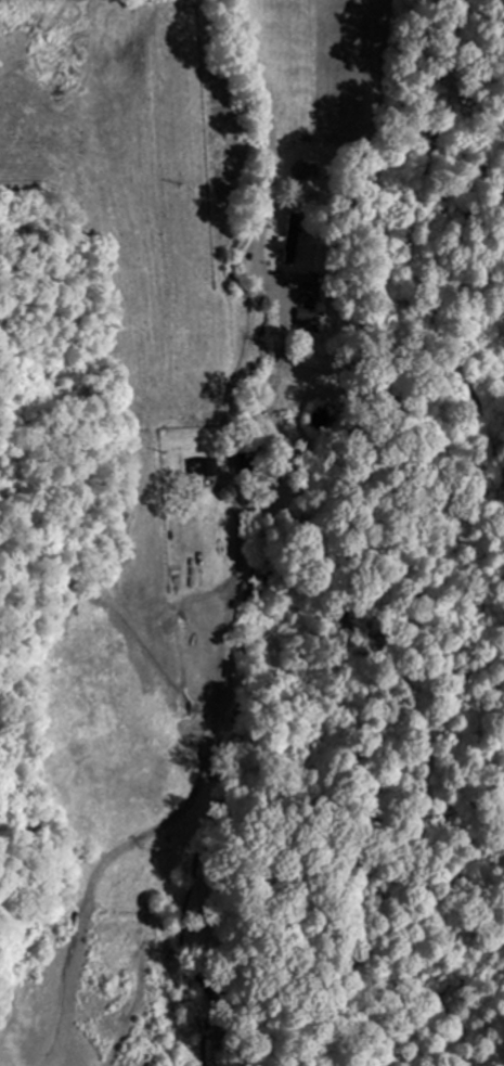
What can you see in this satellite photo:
building: (290, 240)
building: (308, 314)
building: (246, 464)
building: (204, 468)
road: (241, 558)
building: (185, 625)

